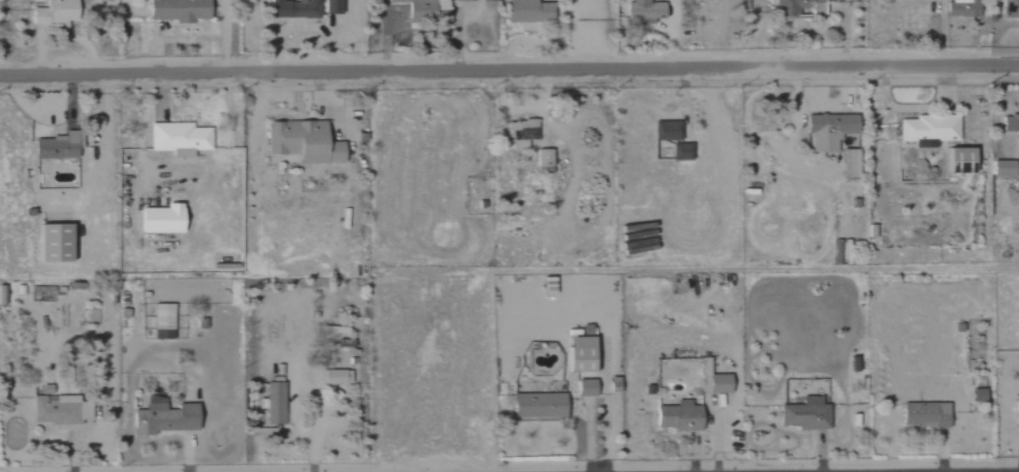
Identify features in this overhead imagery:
building: (302, 8)
building: (422, 8)
building: (797, 8)
building: (960, 8)
building: (1007, 8)
building: (177, 10)
building: (526, 11)
building: (642, 11)
building: (53, 12)
road: (509, 71)
building: (1010, 123)
building: (927, 128)
building: (665, 130)
building: (826, 130)
building: (519, 132)
building: (177, 138)
building: (301, 141)
building: (923, 143)
building: (54, 147)
building: (678, 151)
building: (542, 157)
building: (957, 160)
building: (847, 163)
building: (1001, 168)
building: (159, 219)
building: (50, 242)
building: (547, 285)
building: (161, 321)
building: (577, 354)
building: (335, 377)
building: (711, 380)
building: (584, 388)
building: (274, 403)
building: (537, 405)
building: (58, 408)
building: (1016, 408)
building: (804, 414)
building: (923, 414)
building: (677, 416)
building: (162, 417)
road: (314, 441)

